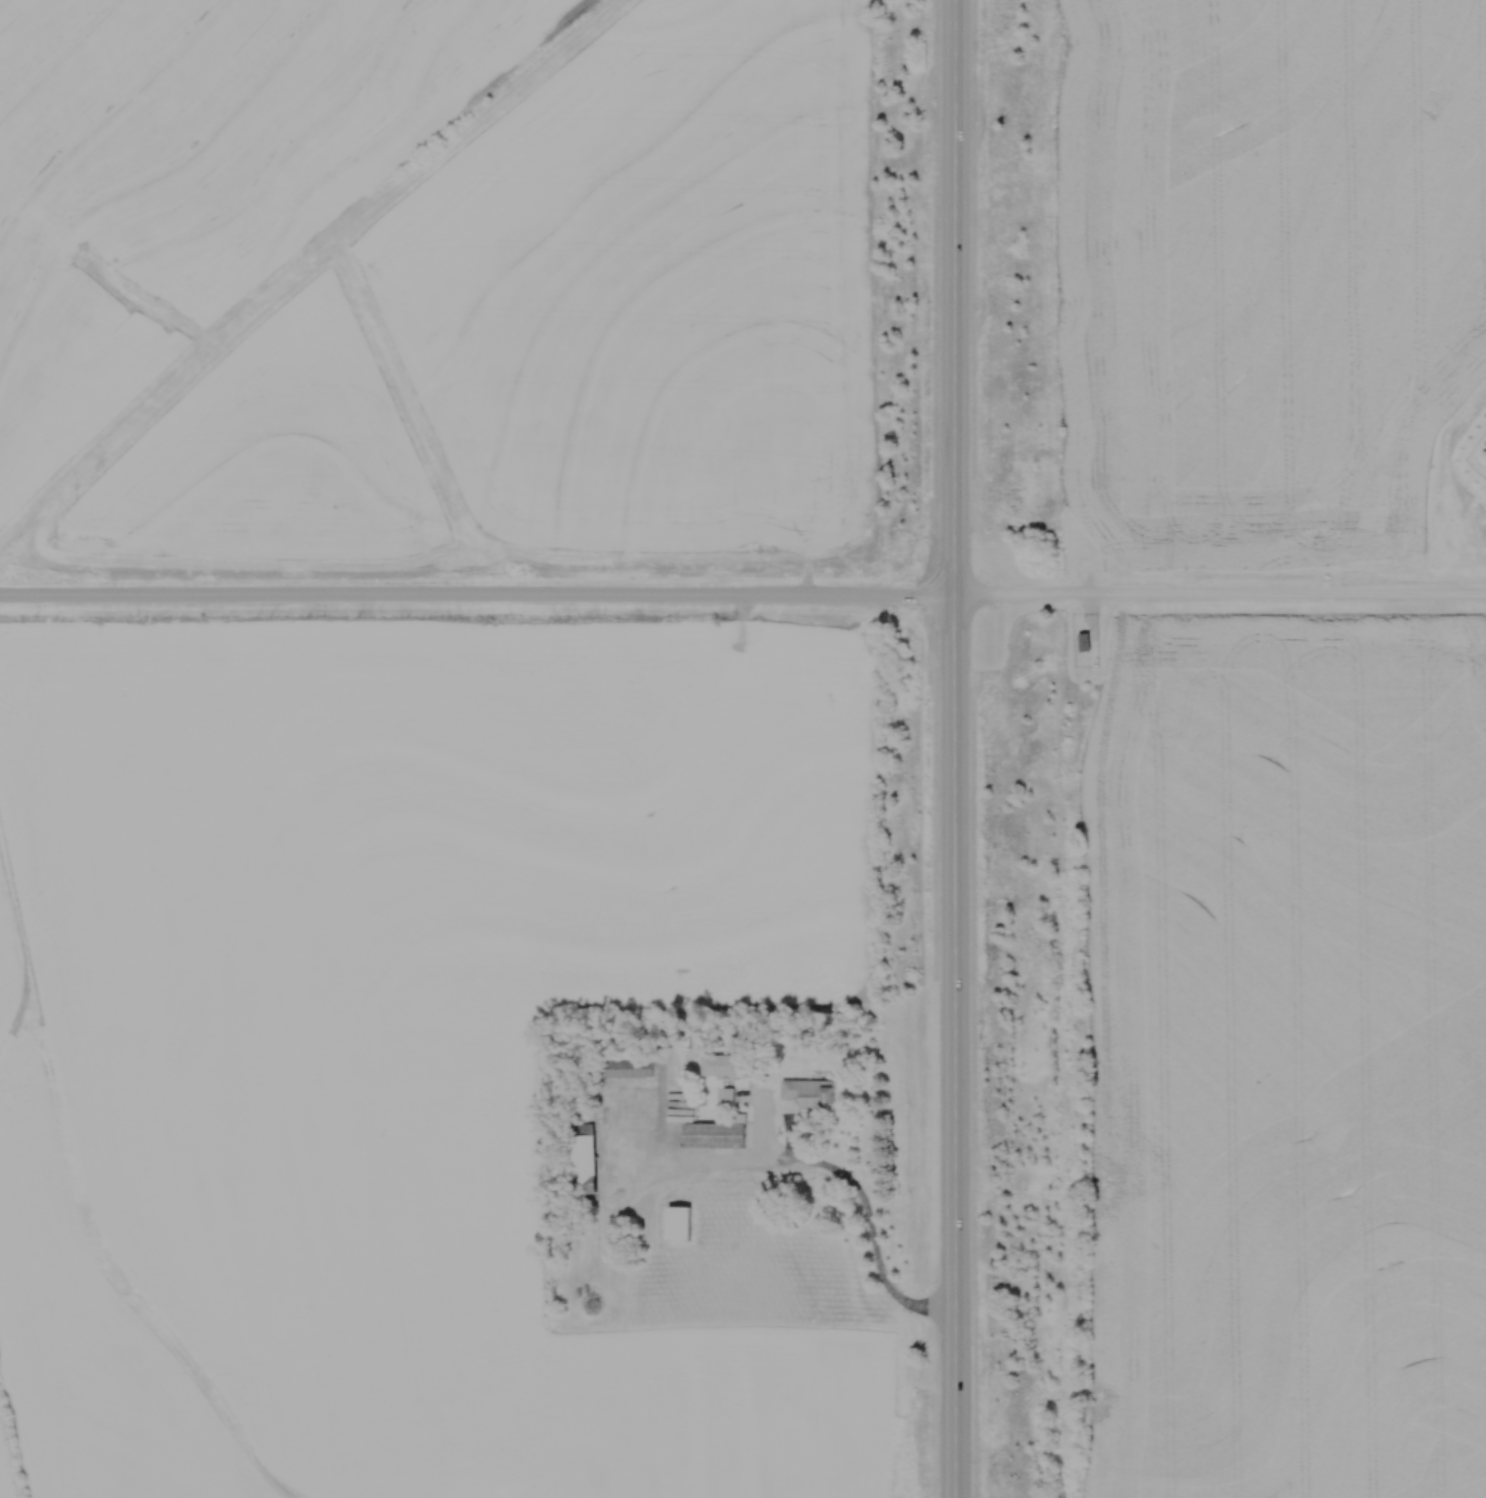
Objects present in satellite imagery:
airport runway: (317, 268)
road: (1220, 597)
road: (478, 598)
building: (1085, 644)
road: (956, 749)
building: (728, 1066)
building: (629, 1069)
building: (810, 1097)
building: (718, 1135)
building: (587, 1164)
road: (858, 1194)
building: (682, 1224)

